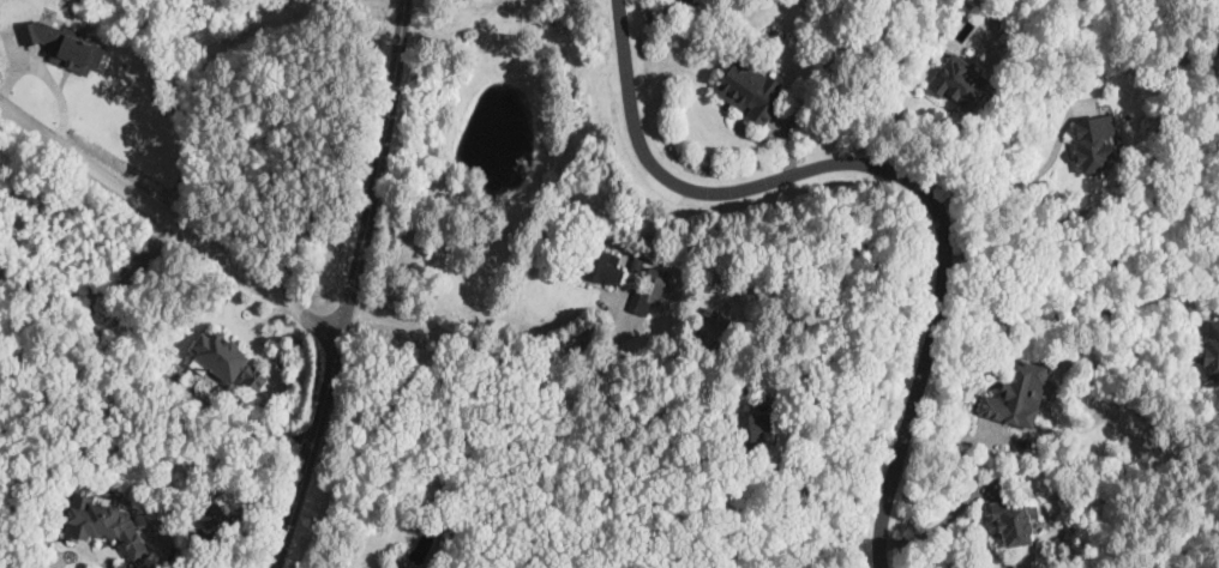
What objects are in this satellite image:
building: (61, 48)
building: (955, 83)
building: (746, 90)
building: (1089, 143)
road: (890, 177)
road: (1014, 187)
road: (164, 226)
building: (599, 267)
building: (654, 276)
road: (352, 286)
road: (94, 289)
road: (1080, 300)
building: (1211, 350)
building: (226, 363)
road: (516, 371)
building: (1013, 394)
road: (846, 425)
building: (747, 436)
road: (945, 520)
building: (101, 522)
building: (1009, 524)

